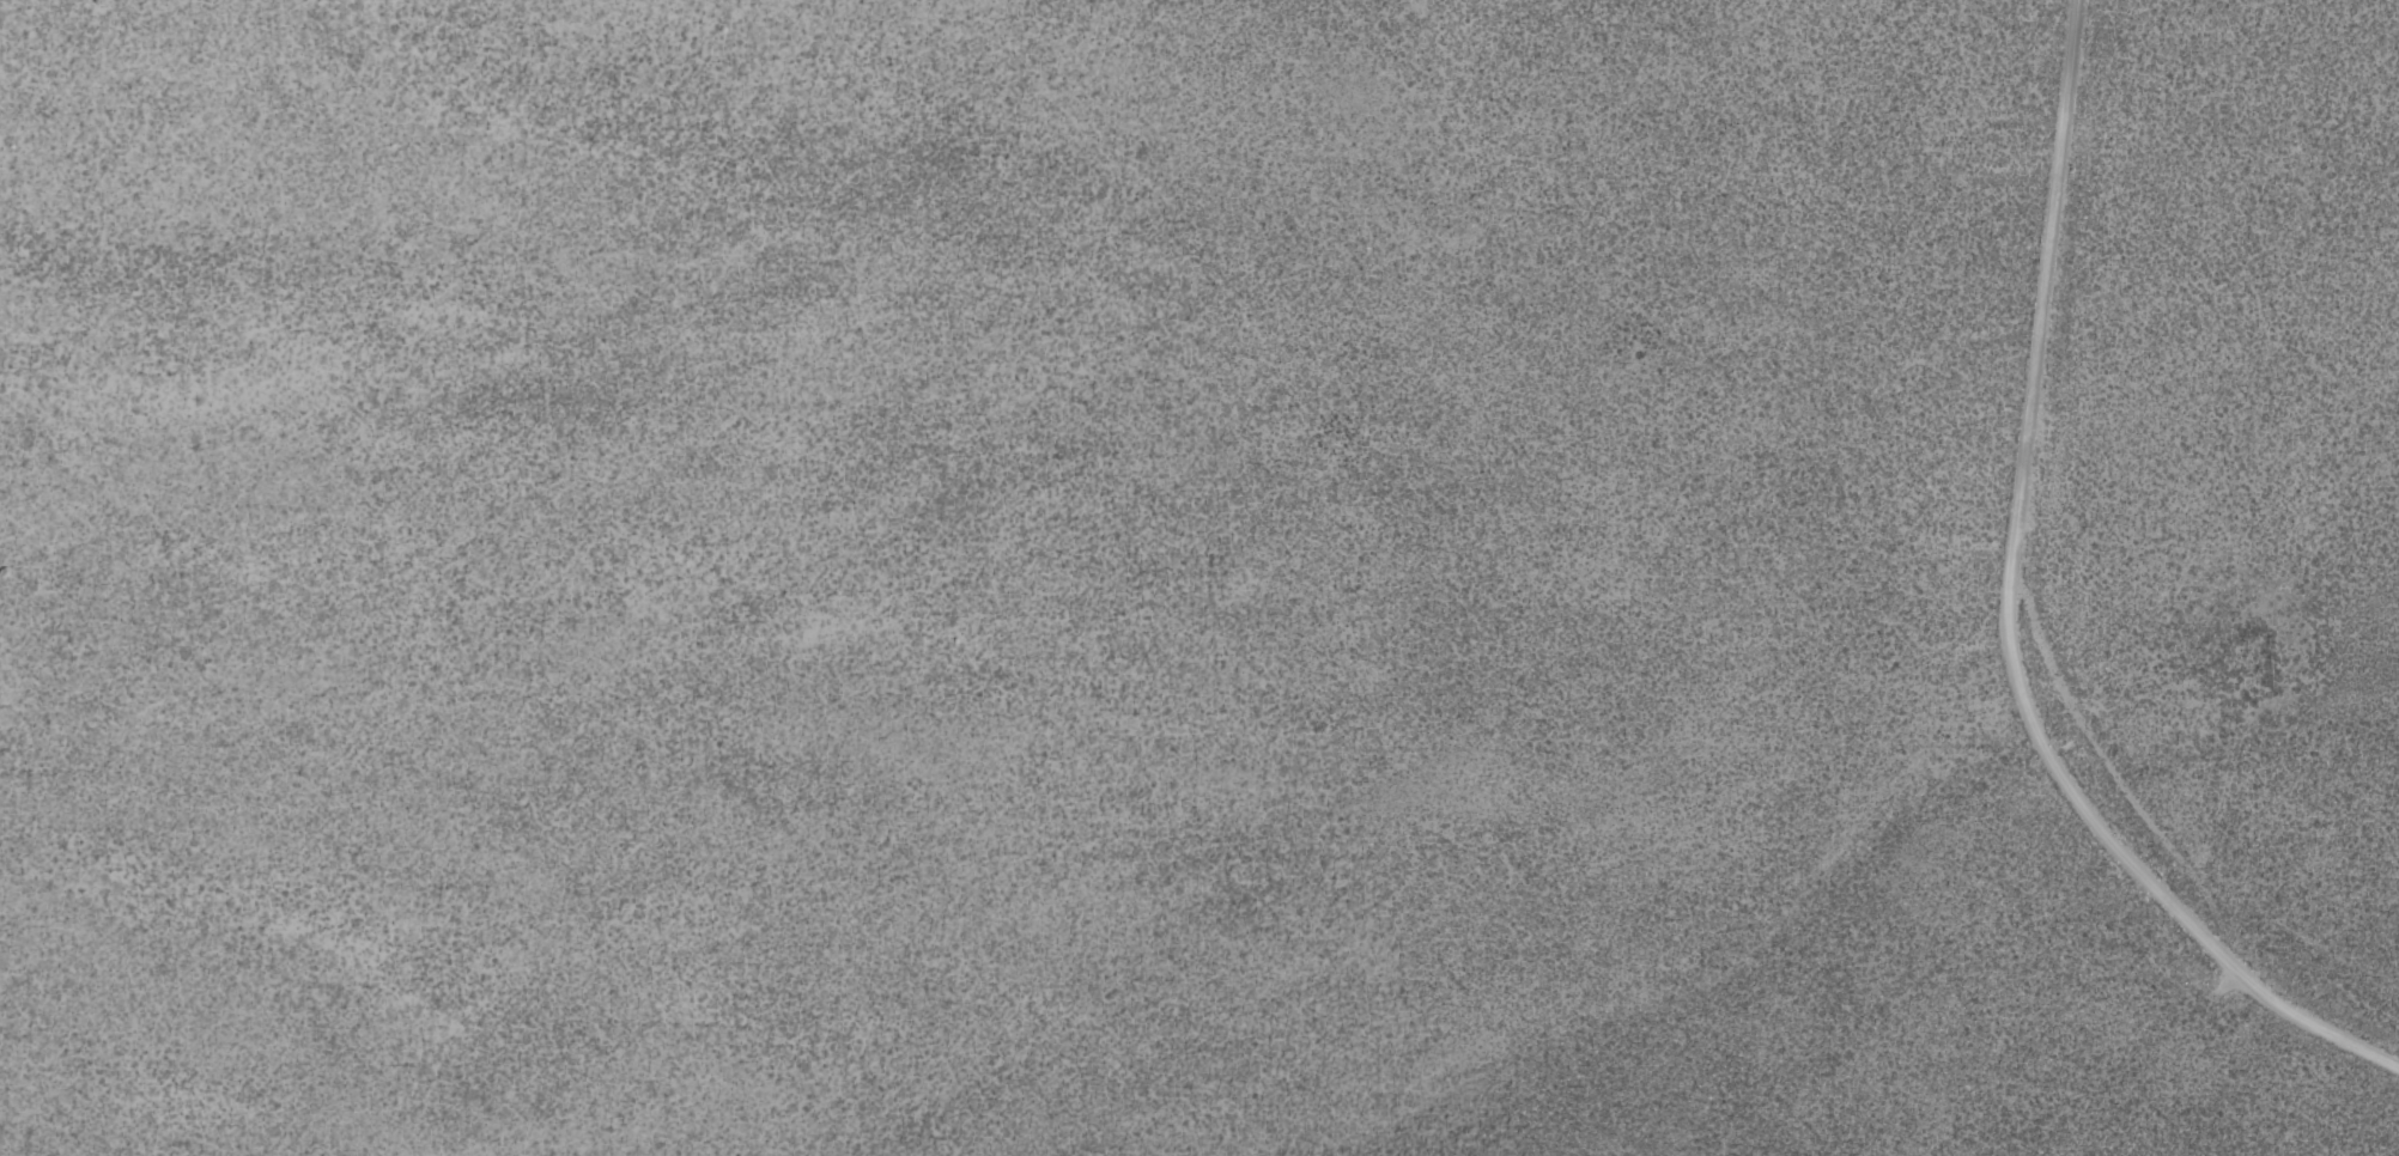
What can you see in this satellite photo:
road: (2015, 619)

